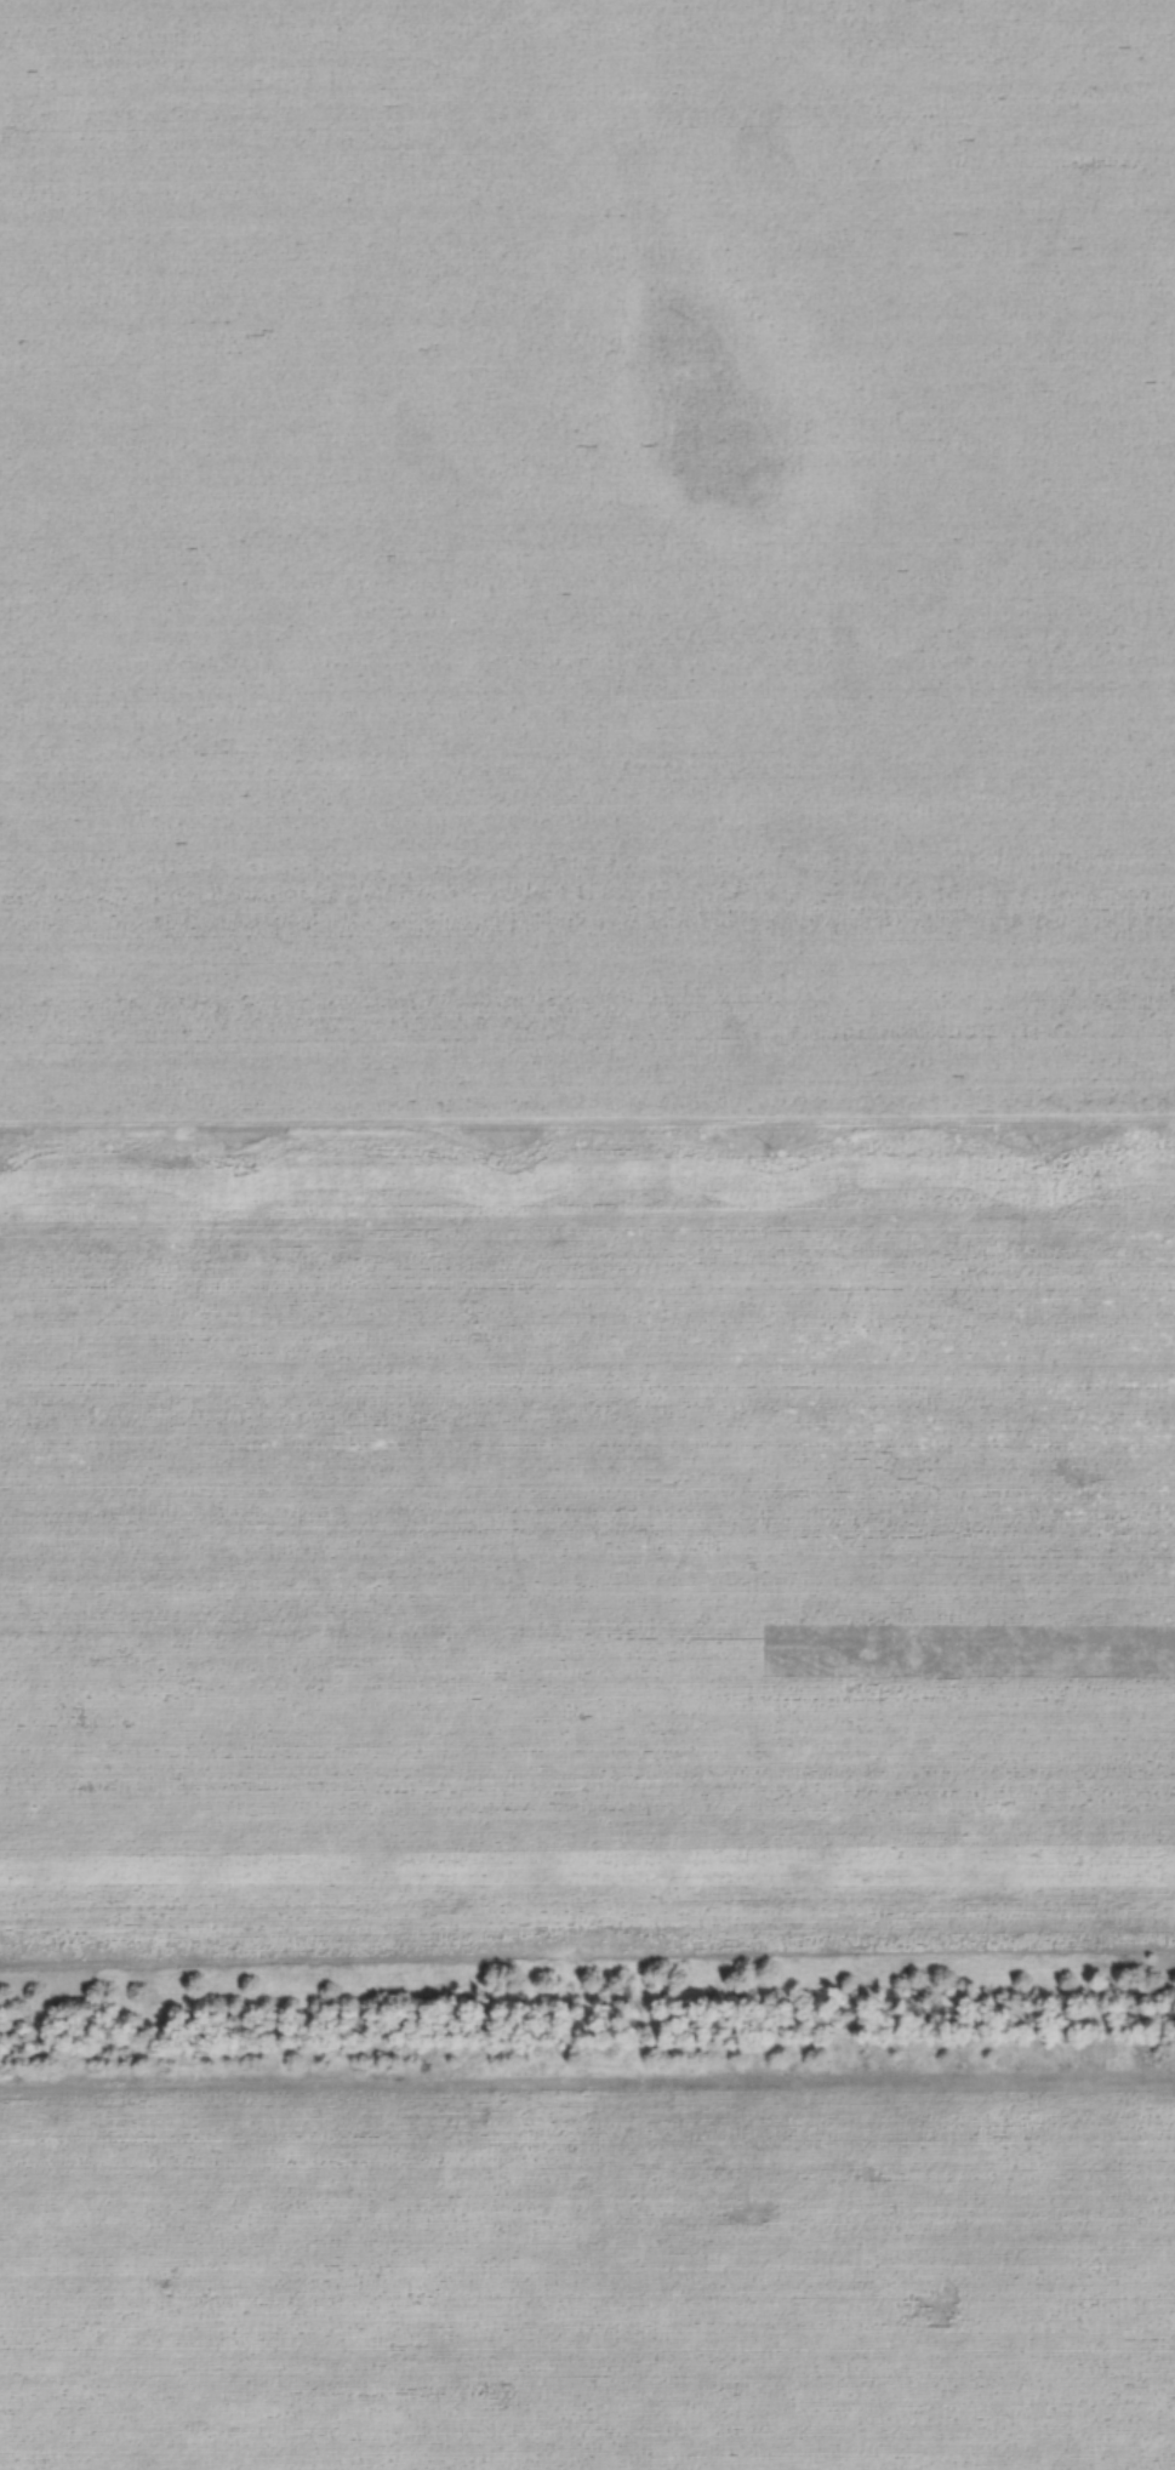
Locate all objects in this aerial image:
road: (587, 1100)

